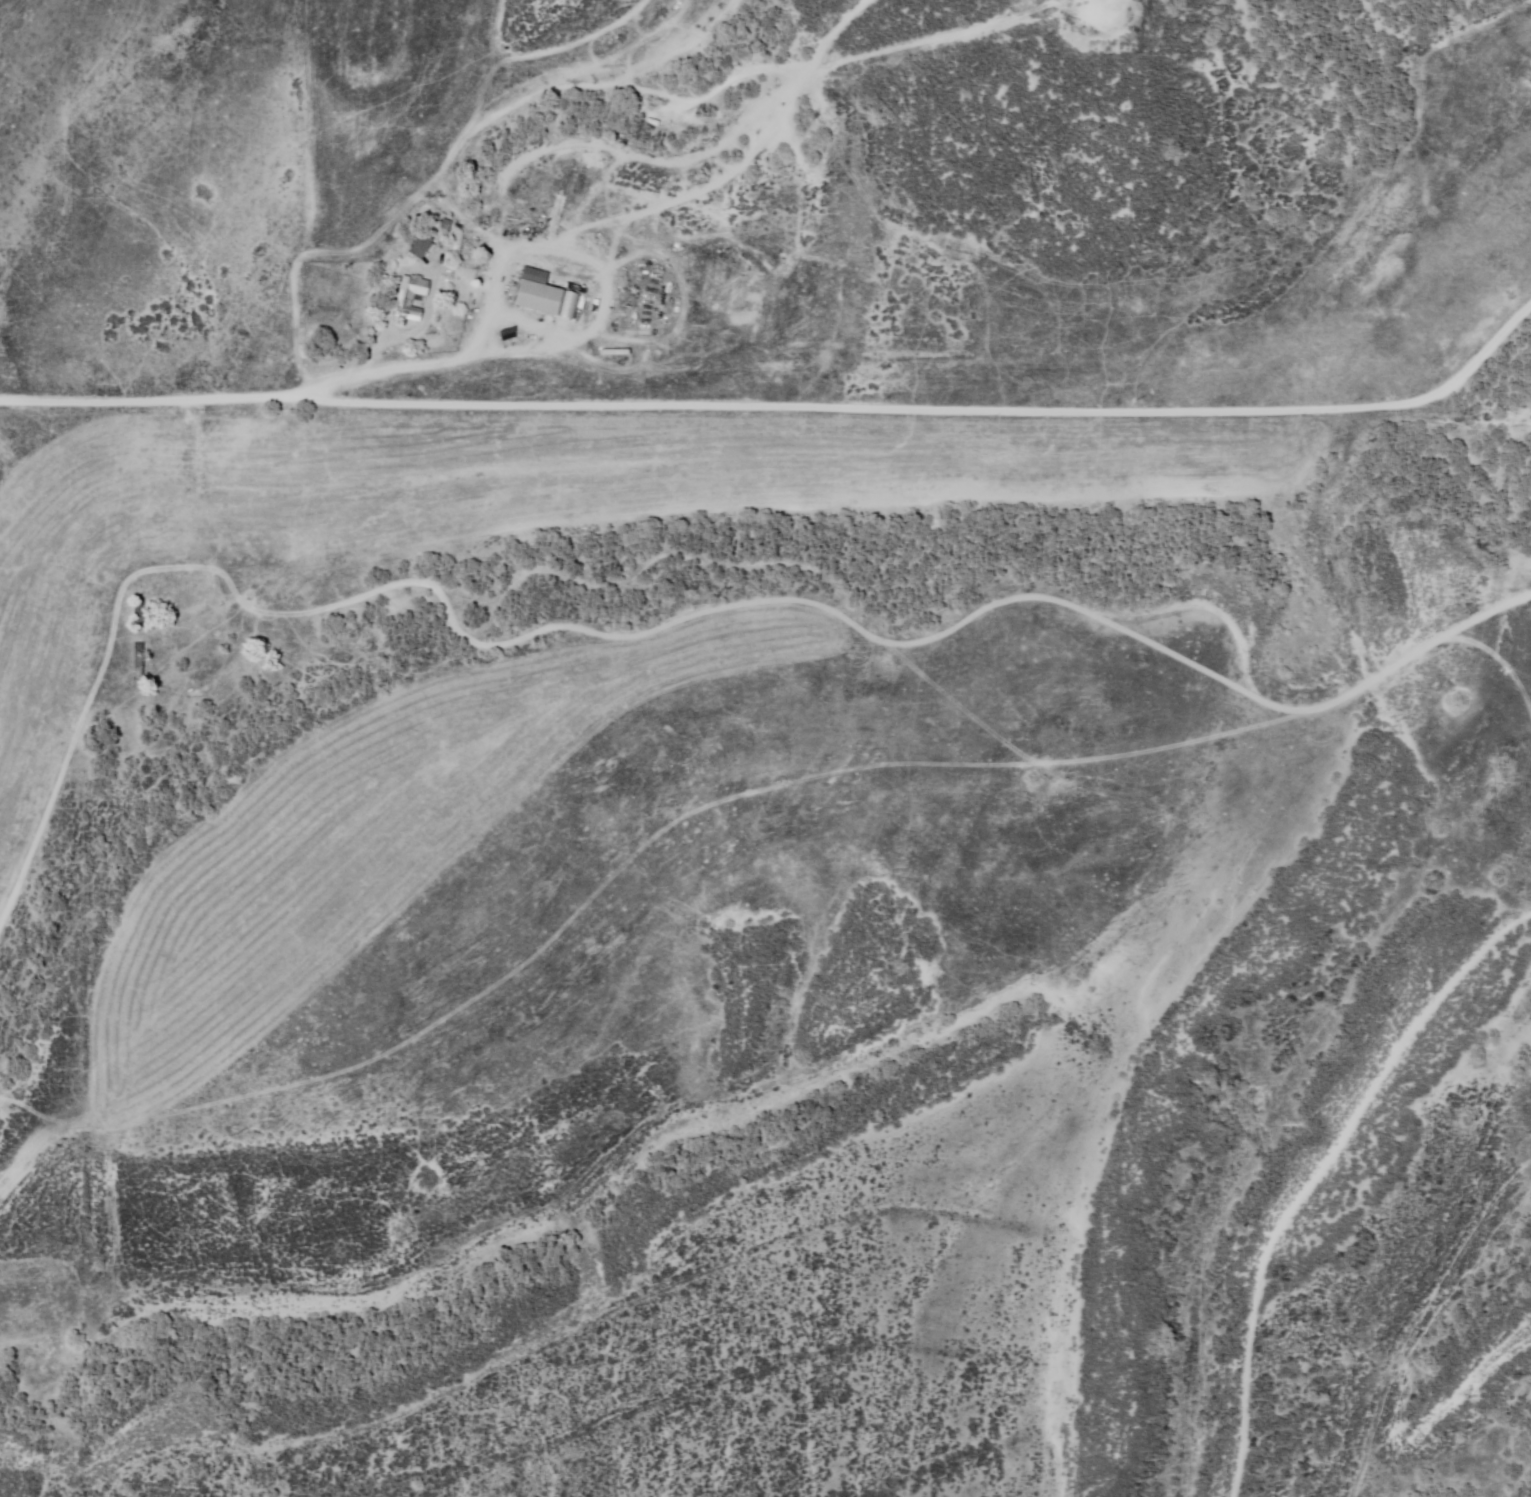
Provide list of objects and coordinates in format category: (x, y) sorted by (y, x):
building: (419, 244)
building: (537, 293)
building: (411, 296)
road: (1478, 370)
road: (789, 413)
road: (761, 590)
building: (204, 674)
road: (959, 838)
road: (1262, 927)

